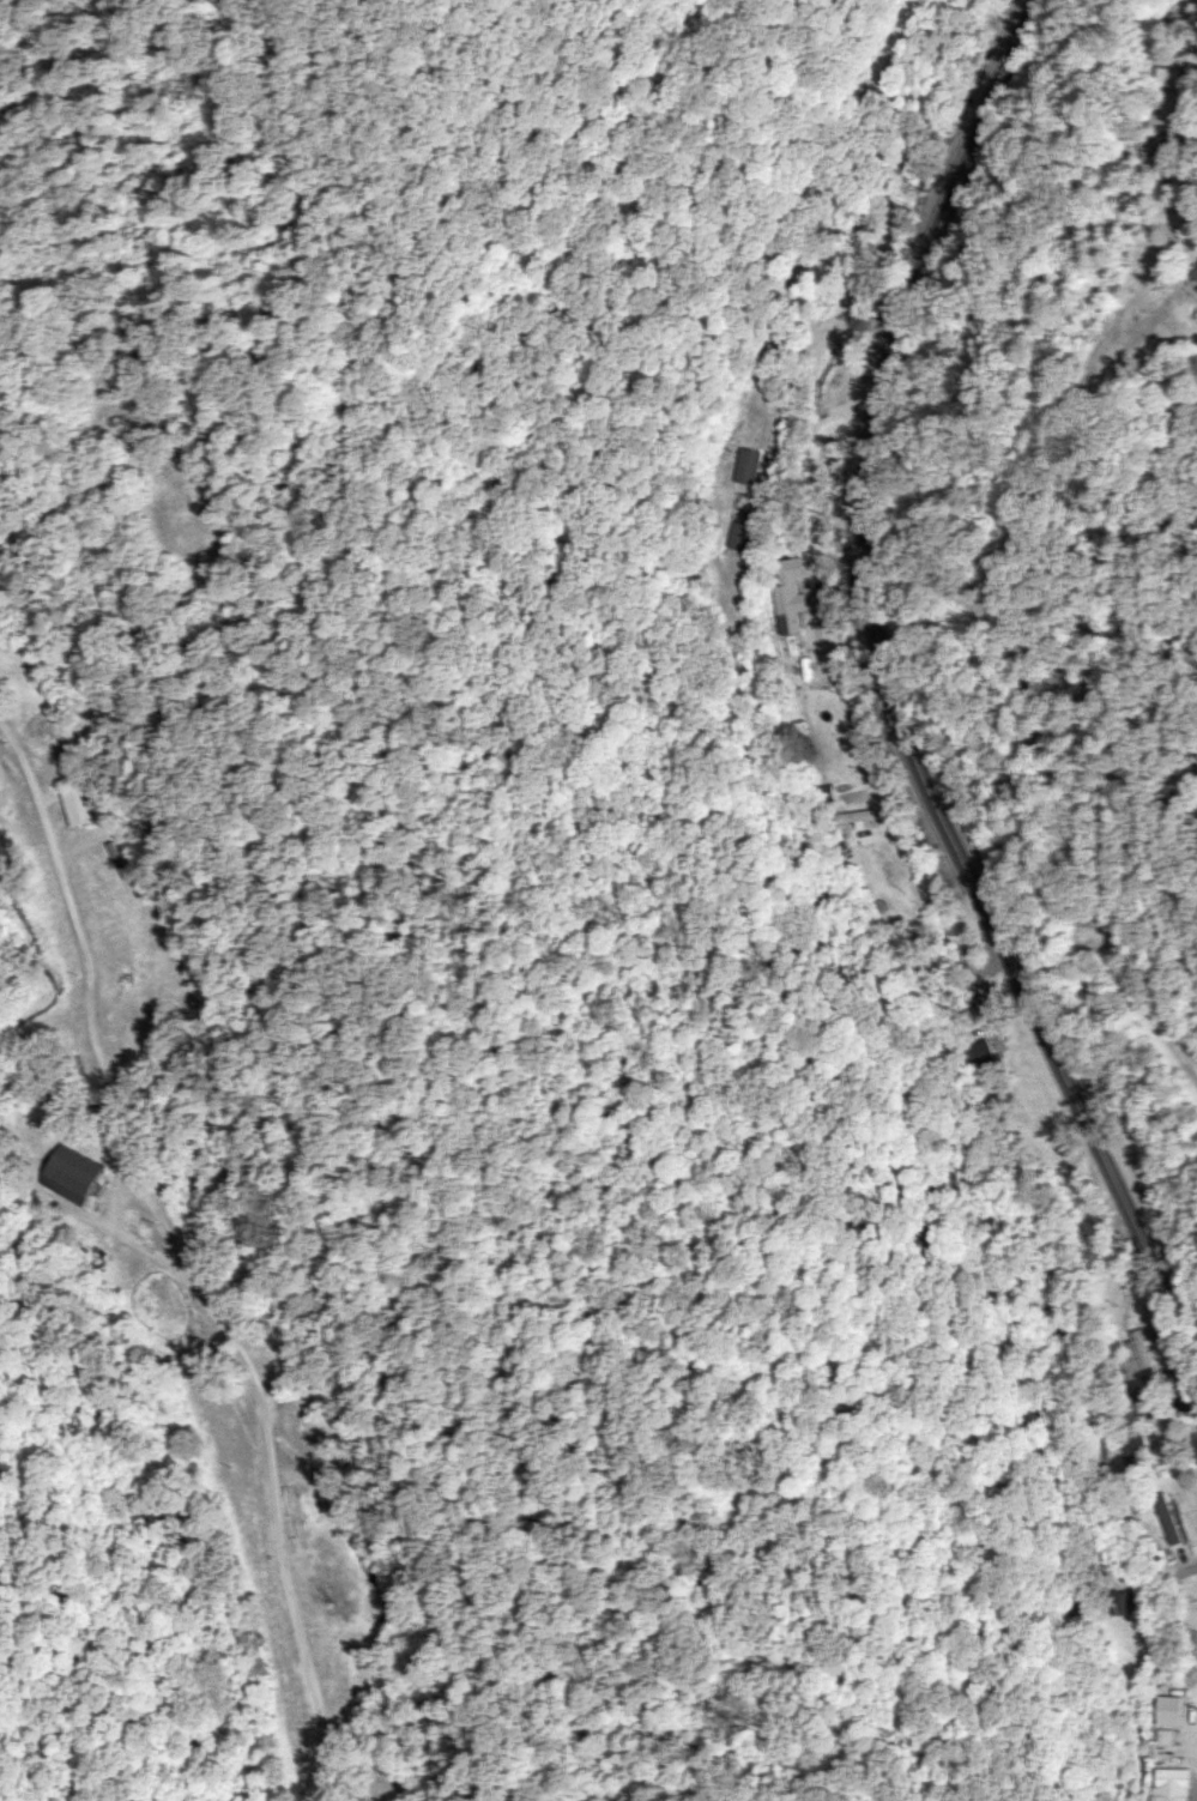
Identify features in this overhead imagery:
building: (1168, 75)
building: (1159, 140)
road: (1196, 195)
building: (854, 271)
building: (1193, 272)
building: (746, 465)
road: (872, 486)
building: (737, 534)
building: (790, 567)
road: (826, 574)
building: (786, 608)
building: (820, 745)
building: (77, 802)
building: (851, 816)
road: (1082, 954)
building: (983, 1058)
building: (68, 1173)
road: (1120, 1176)
road: (219, 1303)
building: (1138, 1352)
building: (1131, 1431)
building: (1165, 1517)
building: (1110, 1601)
building: (1167, 1709)
building: (1171, 1779)

